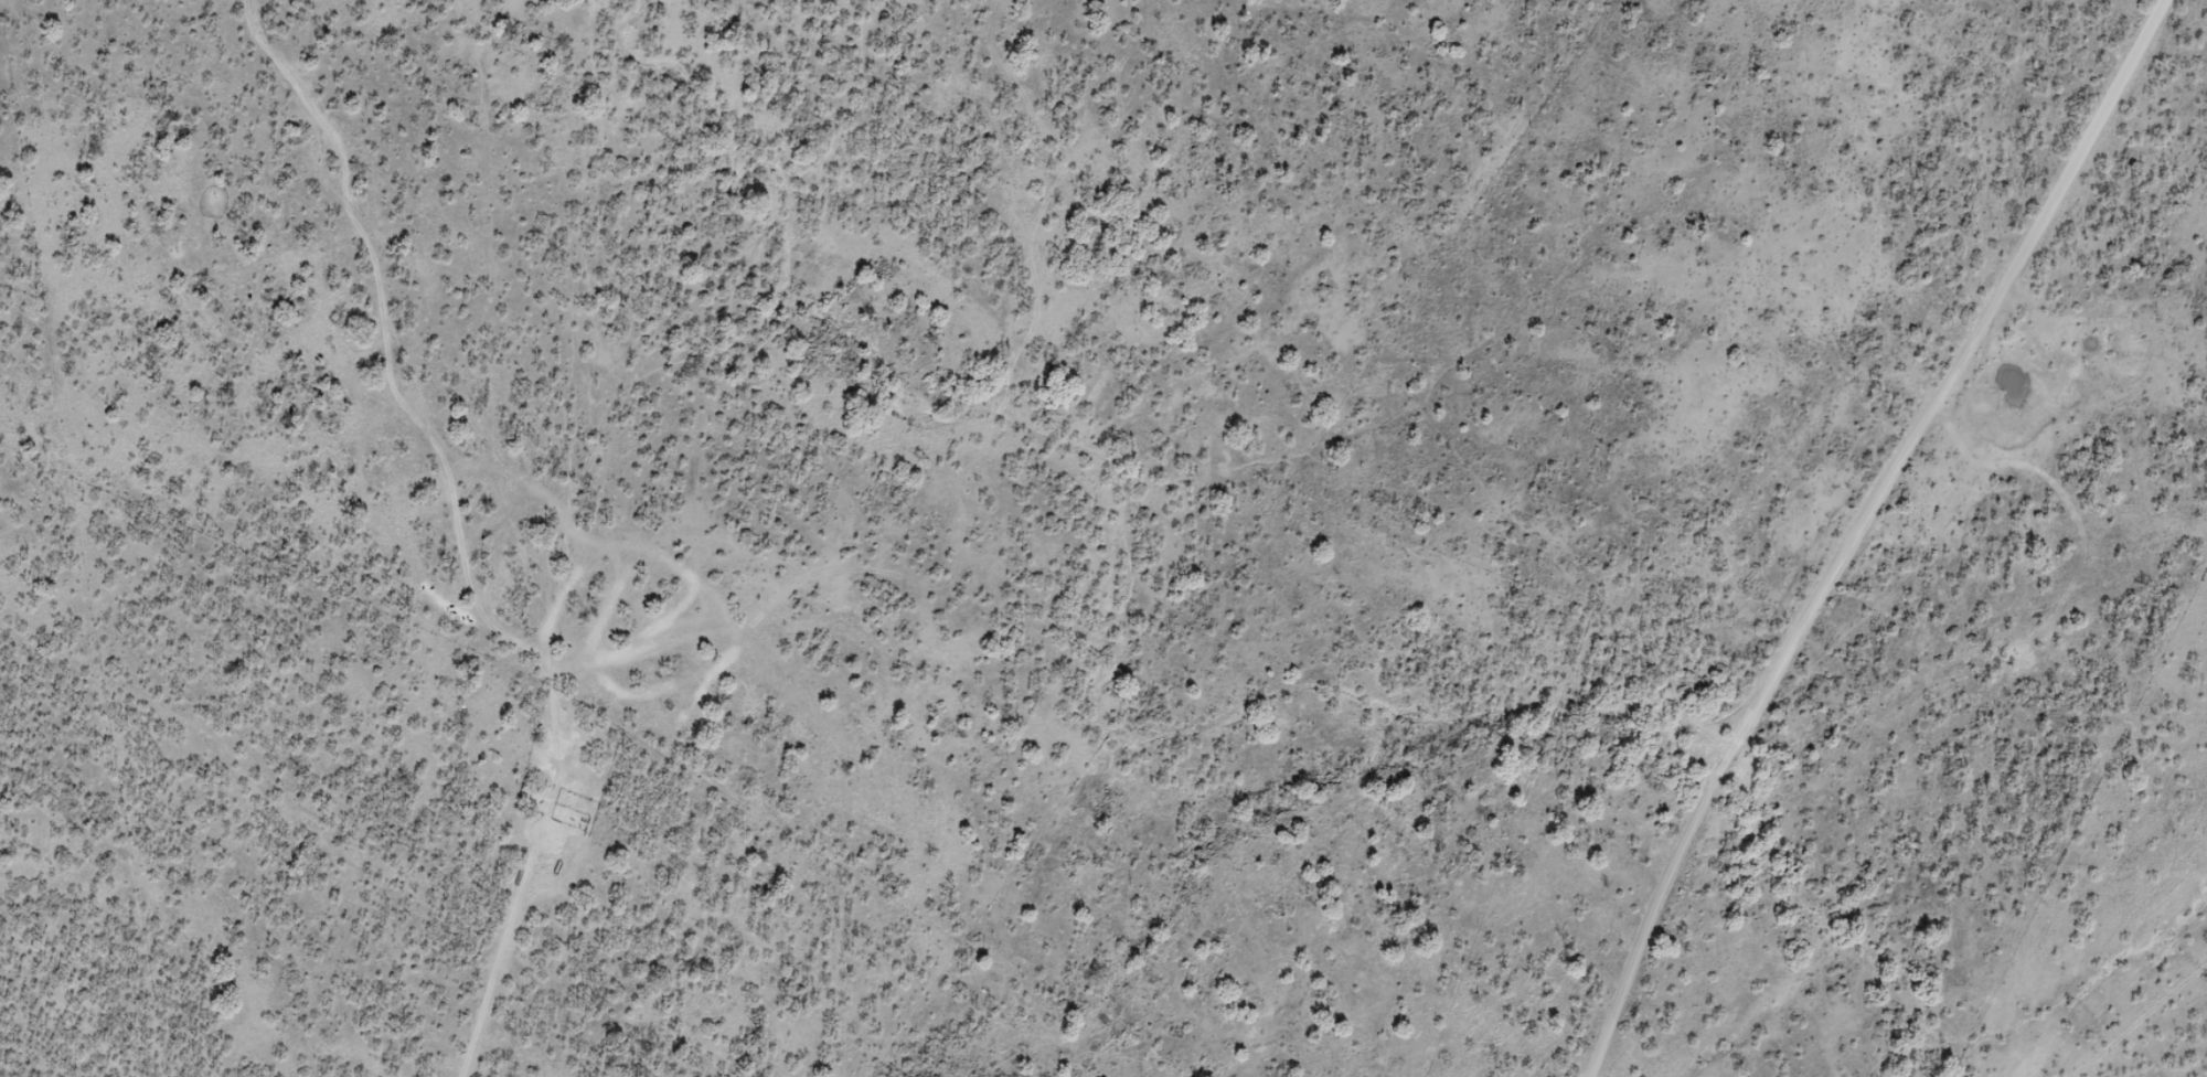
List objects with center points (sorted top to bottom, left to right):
road: (1870, 529)
road: (454, 535)

